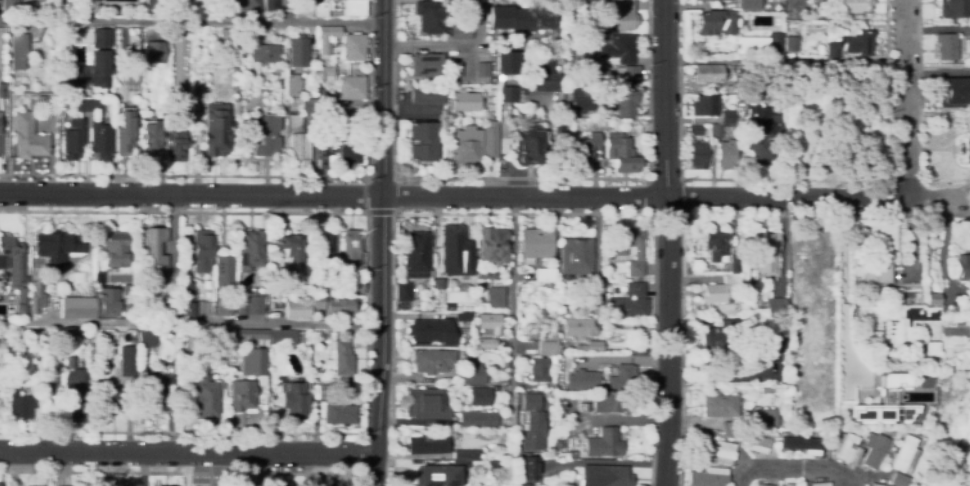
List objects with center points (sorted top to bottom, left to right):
building: (705, 0)
building: (11, 3)
building: (88, 3)
building: (244, 5)
building: (287, 5)
building: (748, 5)
building: (854, 6)
building: (156, 7)
building: (268, 7)
building: (355, 8)
building: (950, 9)
building: (320, 10)
building: (465, 13)
building: (430, 15)
building: (616, 15)
building: (520, 18)
building: (715, 22)
road: (190, 25)
road: (936, 29)
building: (460, 33)
building: (328, 34)
building: (102, 37)
building: (757, 40)
building: (791, 41)
road: (427, 42)
building: (775, 42)
building: (847, 46)
building: (943, 46)
building: (352, 47)
building: (18, 50)
building: (299, 50)
building: (616, 50)
building: (967, 51)
building: (154, 52)
building: (265, 54)
building: (574, 57)
road: (784, 61)
building: (506, 63)
building: (426, 65)
building: (735, 68)
building: (236, 69)
building: (454, 69)
road: (936, 69)
building: (482, 70)
building: (89, 71)
building: (243, 71)
building: (707, 73)
building: (327, 74)
building: (544, 75)
building: (129, 78)
building: (291, 85)
building: (349, 88)
building: (727, 89)
building: (3, 90)
building: (626, 90)
building: (491, 92)
building: (952, 93)
building: (508, 94)
building: (428, 96)
building: (581, 96)
road: (903, 99)
building: (326, 101)
building: (465, 101)
building: (87, 105)
building: (703, 106)
building: (309, 107)
building: (726, 117)
building: (345, 120)
building: (604, 122)
building: (294, 123)
building: (596, 124)
building: (558, 126)
building: (177, 127)
building: (724, 129)
building: (728, 129)
building: (214, 130)
building: (693, 130)
building: (124, 132)
building: (714, 132)
building: (265, 135)
building: (325, 135)
building: (28, 136)
building: (151, 137)
building: (760, 139)
building: (73, 140)
building: (490, 140)
building: (422, 142)
building: (101, 144)
building: (465, 145)
building: (299, 147)
building: (527, 147)
building: (323, 149)
building: (581, 149)
building: (963, 149)
building: (619, 154)
building: (695, 155)
building: (724, 155)
building: (349, 156)
road: (272, 176)
road: (521, 177)
road: (453, 197)
road: (381, 242)
building: (624, 242)
building: (535, 243)
road: (666, 243)
building: (492, 245)
building: (713, 245)
building: (323, 247)
building: (351, 247)
building: (153, 248)
building: (293, 248)
building: (116, 249)
building: (57, 250)
building: (202, 250)
building: (250, 250)
building: (456, 251)
building: (761, 252)
building: (814, 253)
building: (415, 255)
building: (575, 256)
building: (11, 259)
building: (340, 260)
building: (732, 265)
building: (99, 266)
building: (958, 267)
building: (633, 269)
building: (224, 272)
building: (876, 272)
building: (485, 274)
building: (544, 275)
building: (440, 283)
building: (350, 286)
building: (594, 288)
building: (716, 290)
building: (406, 292)
road: (837, 292)
building: (22, 296)
building: (36, 298)
building: (495, 298)
building: (129, 299)
building: (187, 299)
building: (928, 299)
building: (249, 301)
building: (627, 303)
building: (334, 304)
building: (103, 305)
building: (773, 307)
building: (77, 308)
building: (201, 308)
building: (218, 308)
road: (512, 308)
building: (297, 309)
building: (962, 309)
building: (143, 311)
building: (542, 312)
building: (462, 315)
building: (895, 315)
road: (190, 322)
building: (491, 322)
building: (723, 323)
building: (577, 328)
building: (433, 331)
building: (77, 332)
building: (482, 332)
building: (65, 335)
building: (249, 335)
building: (320, 336)
building: (146, 339)
building: (283, 339)
building: (214, 340)
building: (715, 340)
building: (870, 340)
building: (486, 343)
building: (546, 344)
building: (765, 345)
building: (927, 347)
building: (1, 349)
building: (558, 349)
building: (341, 357)
building: (126, 360)
building: (432, 361)
building: (254, 362)
building: (275, 363)
building: (537, 370)
building: (471, 373)
building: (52, 377)
building: (621, 377)
building: (581, 379)
building: (152, 387)
building: (554, 387)
building: (75, 391)
building: (316, 391)
building: (761, 391)
building: (548, 394)
building: (241, 395)
building: (479, 396)
building: (113, 398)
building: (205, 398)
building: (291, 398)
building: (608, 402)
building: (19, 403)
building: (879, 403)
building: (425, 404)
building: (586, 405)
building: (720, 406)
building: (339, 411)
building: (756, 418)
building: (478, 419)
building: (532, 423)
building: (454, 429)
building: (725, 429)
building: (912, 433)
building: (771, 435)
building: (828, 438)
building: (428, 443)
building: (753, 443)
building: (603, 444)
building: (796, 444)
building: (843, 448)
building: (870, 450)
building: (718, 451)
road: (188, 454)
building: (501, 456)
building: (899, 456)
building: (493, 464)
building: (690, 467)
building: (529, 469)
building: (446, 470)
road: (787, 470)
building: (604, 476)
building: (704, 476)
building: (895, 480)
building: (0, 484)
building: (525, 484)
building: (784, 484)
building: (816, 484)
building: (759, 485)
building: (780, 485)
building: (871, 485)

